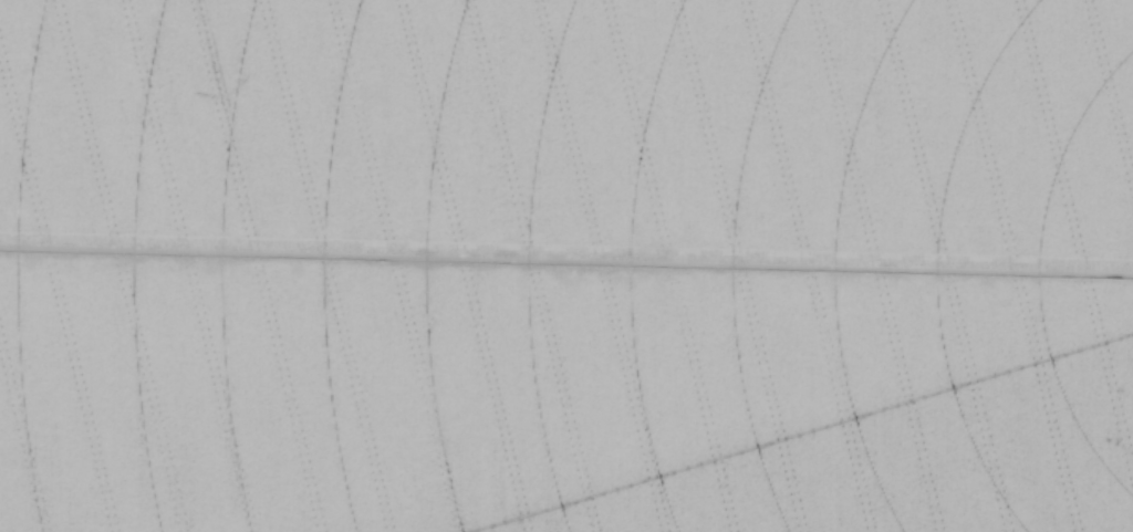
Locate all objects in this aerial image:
crop: (566, 265)

